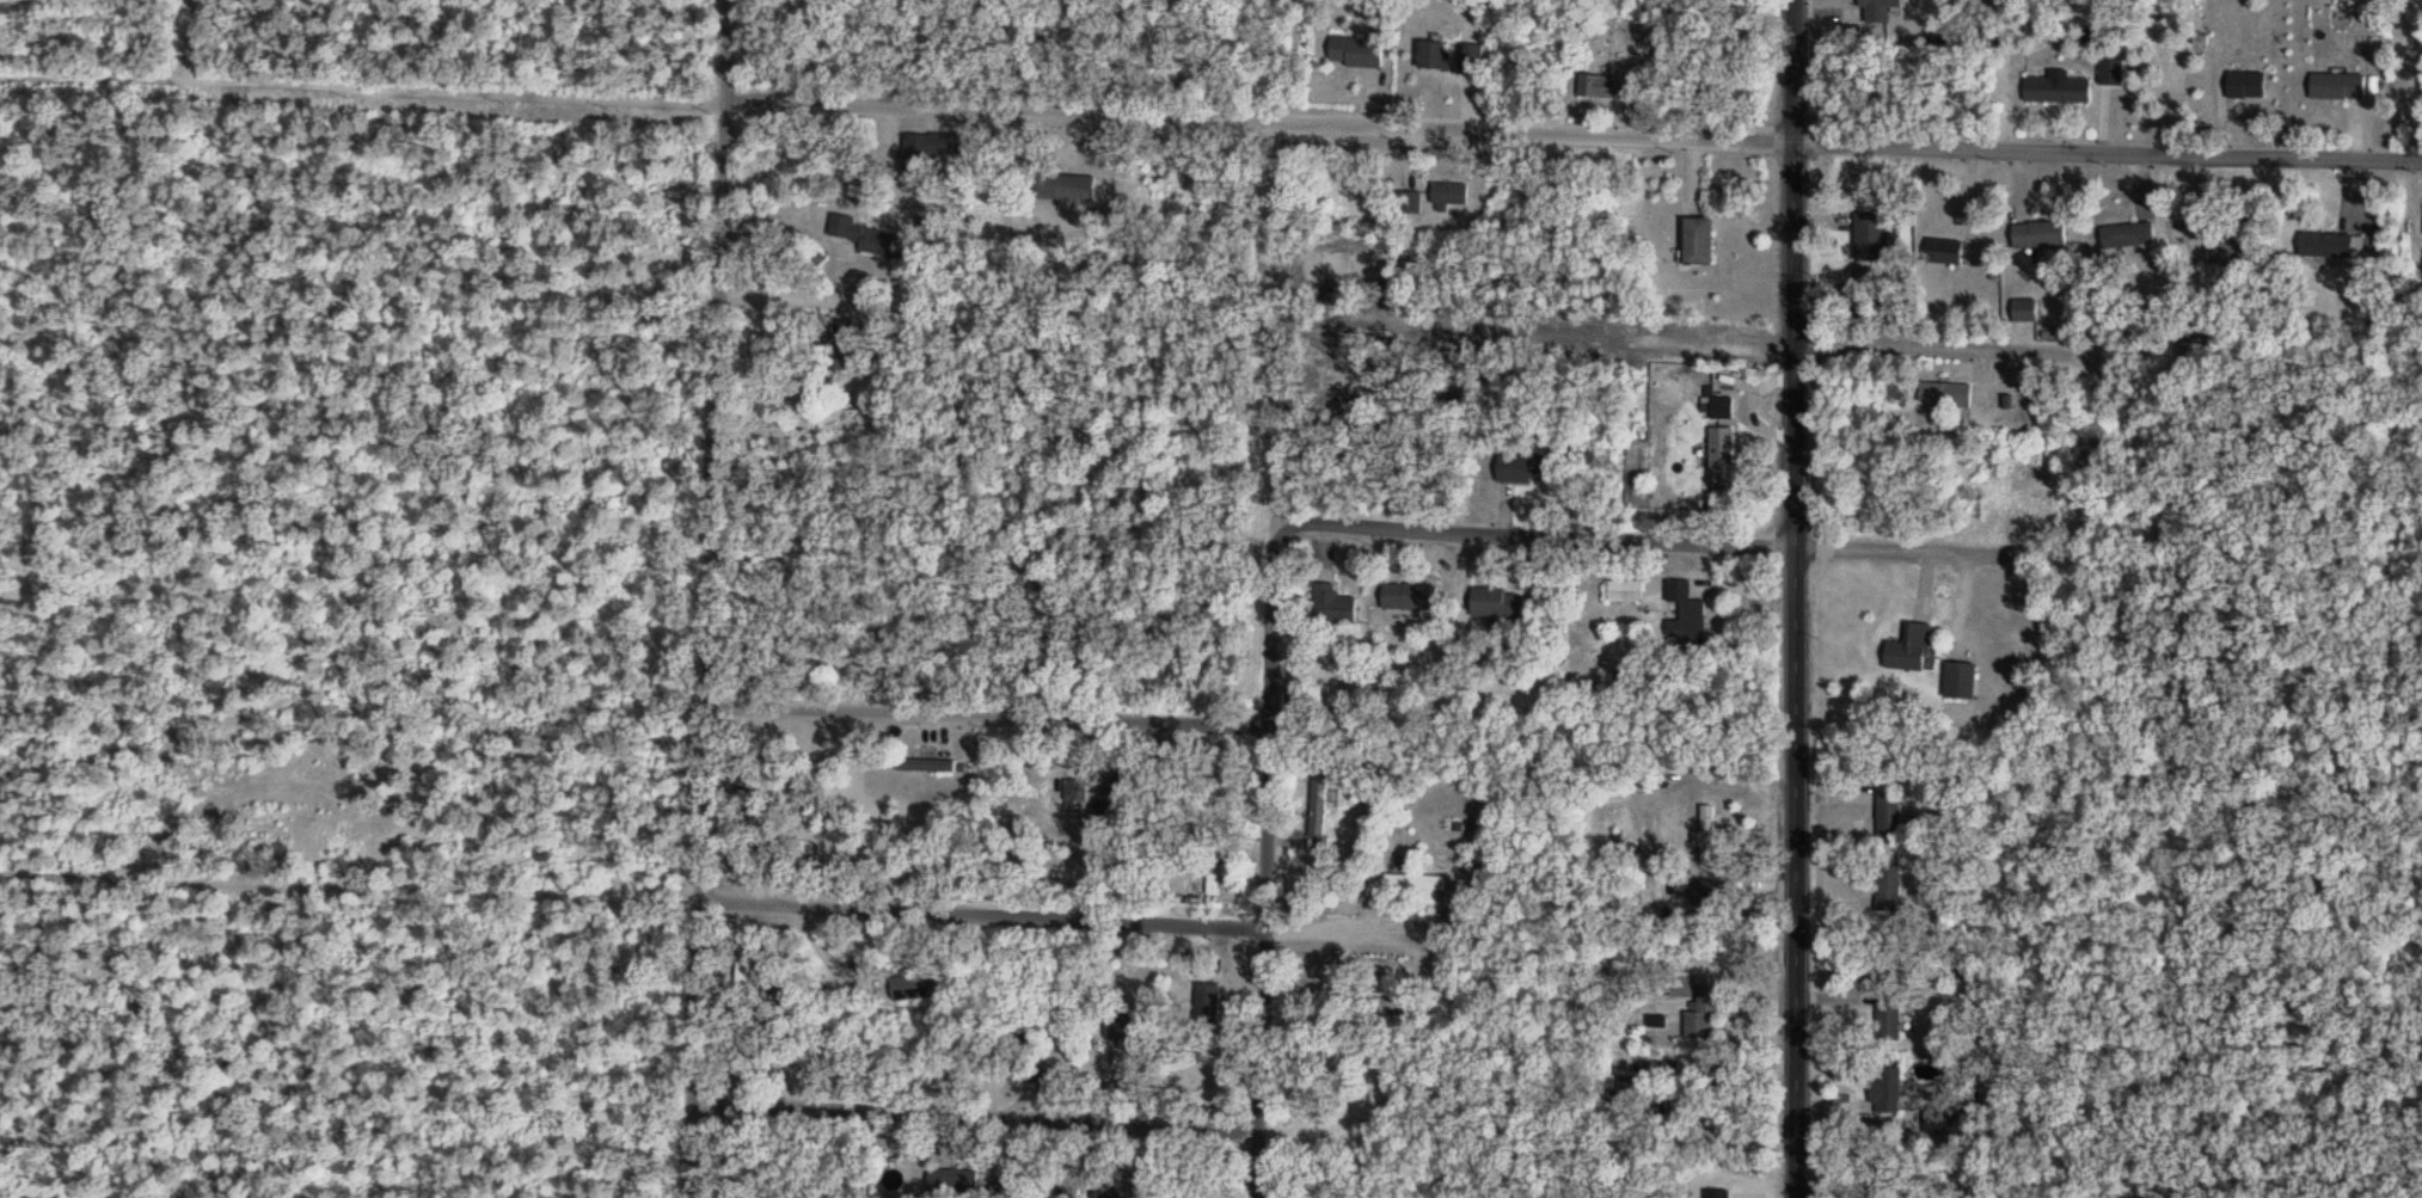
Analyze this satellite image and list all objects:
building: (1880, 12)
building: (1355, 55)
building: (1433, 59)
building: (1471, 60)
building: (2245, 87)
building: (1605, 90)
building: (2337, 90)
road: (363, 92)
building: (2056, 92)
road: (1575, 131)
building: (930, 149)
building: (1066, 189)
building: (1449, 195)
building: (1410, 204)
building: (842, 229)
building: (2037, 236)
building: (2126, 236)
building: (1870, 240)
building: (1696, 242)
building: (2317, 247)
building: (1943, 253)
building: (816, 260)
road: (895, 293)
building: (2024, 312)
road: (1958, 351)
building: (1942, 395)
building: (1719, 411)
road: (1679, 546)
building: (1624, 595)
road: (722, 598)
road: (1802, 598)
building: (1408, 600)
building: (1496, 604)
building: (1331, 608)
building: (1685, 619)
building: (1907, 652)
building: (1958, 683)
road: (997, 713)
building: (1077, 795)
building: (1319, 810)
building: (1890, 817)
building: (1706, 828)
road: (1274, 862)
building: (1215, 880)
building: (1414, 884)
building: (1888, 892)
road: (993, 913)
road: (1369, 935)
building: (744, 988)
building: (910, 990)
building: (1207, 997)
building: (1398, 1002)
building: (1703, 1018)
building: (1889, 1026)
building: (1888, 1092)
road: (1682, 1101)
road: (1252, 1126)
building: (955, 1184)
building: (1116, 1194)

